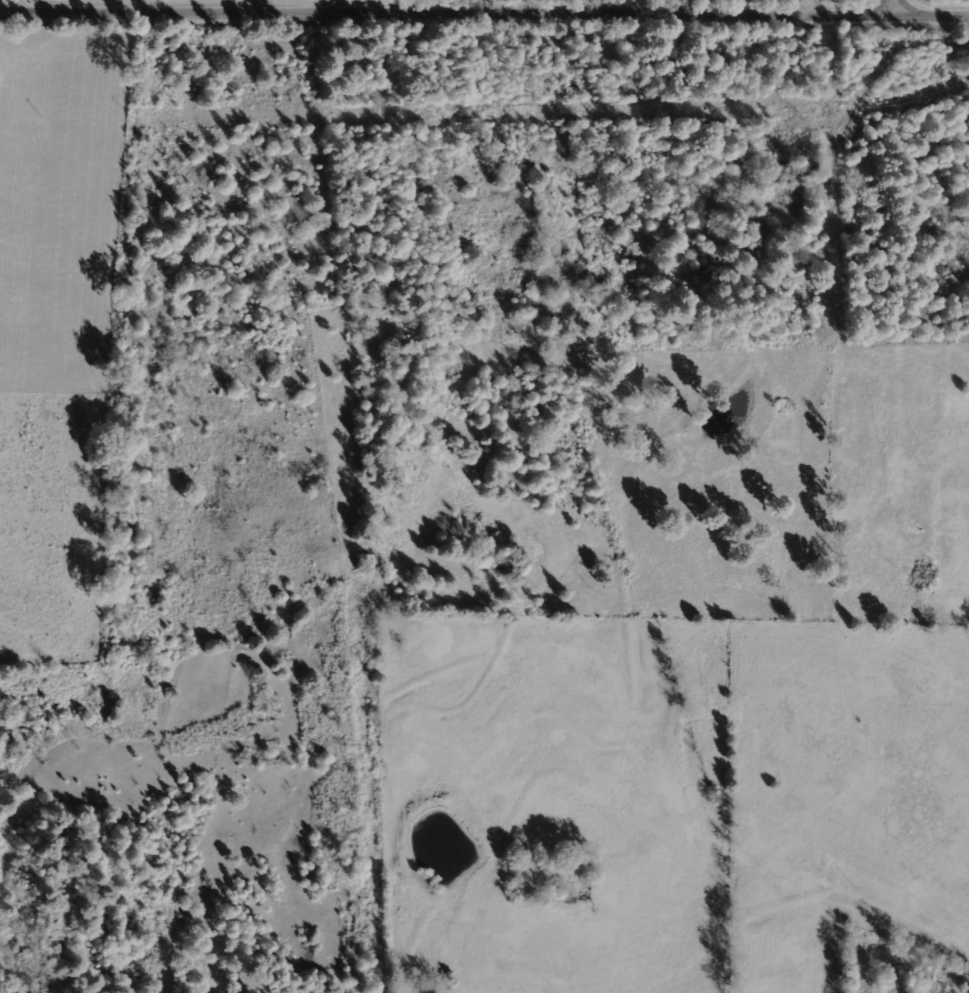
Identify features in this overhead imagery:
road: (26, 2)
road: (903, 6)
road: (484, 9)

